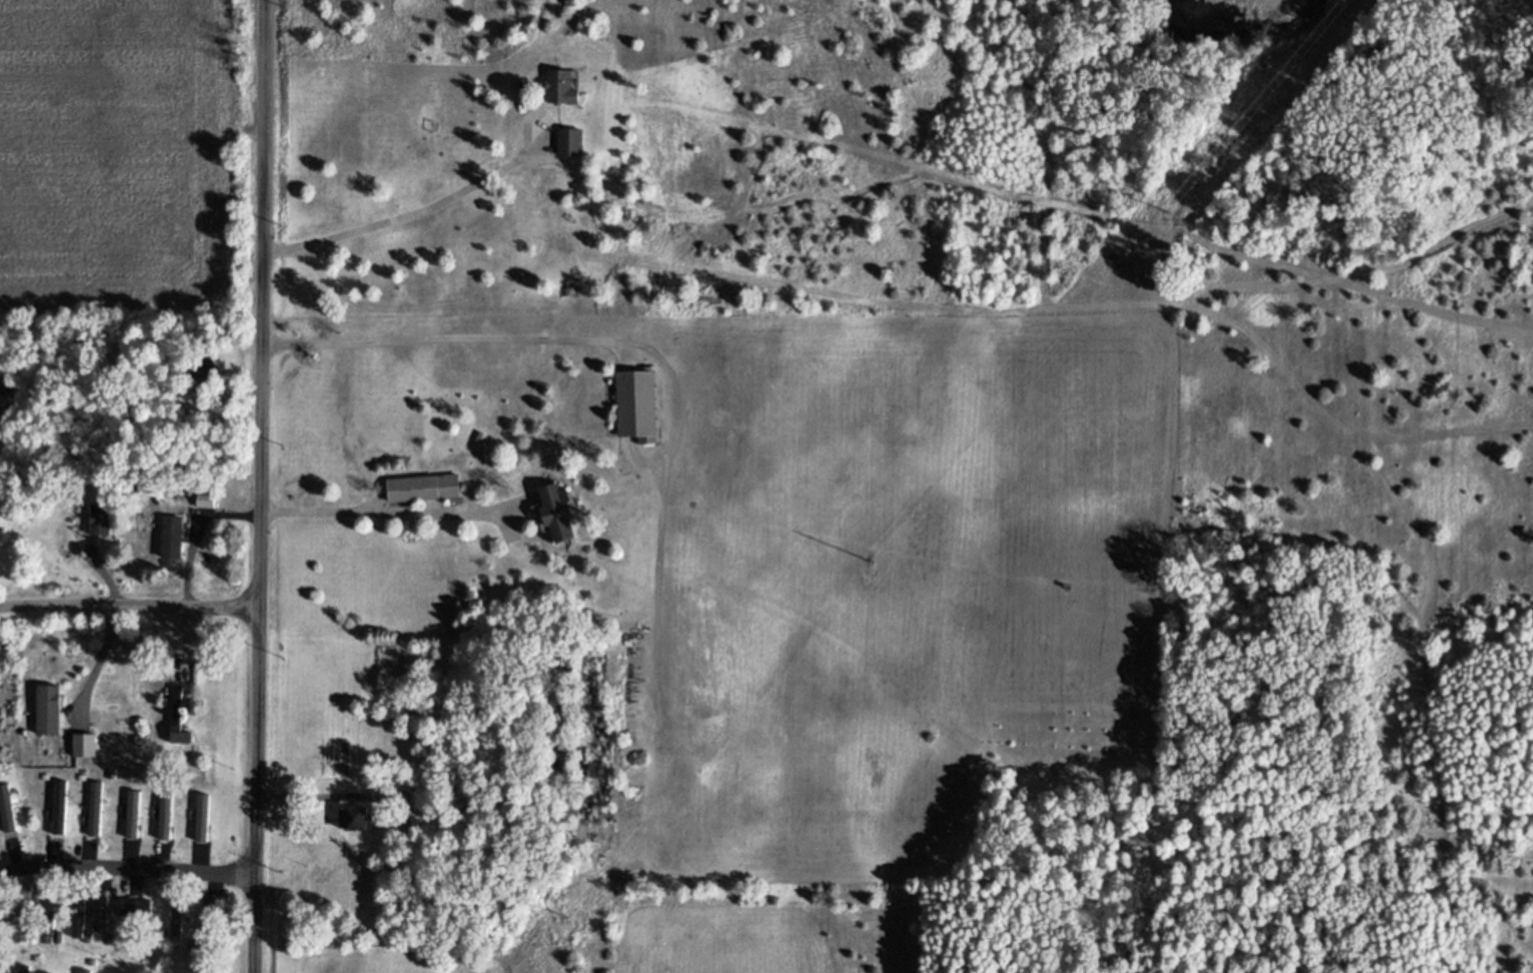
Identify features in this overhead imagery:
building: (569, 91)
building: (576, 146)
crop: (119, 156)
road: (451, 200)
road: (466, 337)
building: (642, 405)
road: (263, 486)
building: (428, 491)
building: (211, 503)
road: (398, 512)
building: (563, 515)
building: (105, 522)
building: (177, 540)
road: (128, 607)
building: (53, 713)
building: (182, 731)
building: (89, 748)
building: (62, 810)
building: (362, 821)
building: (407, 836)
road: (125, 871)
building: (51, 902)
building: (142, 914)
building: (181, 916)
building: (214, 919)
building: (53, 937)

